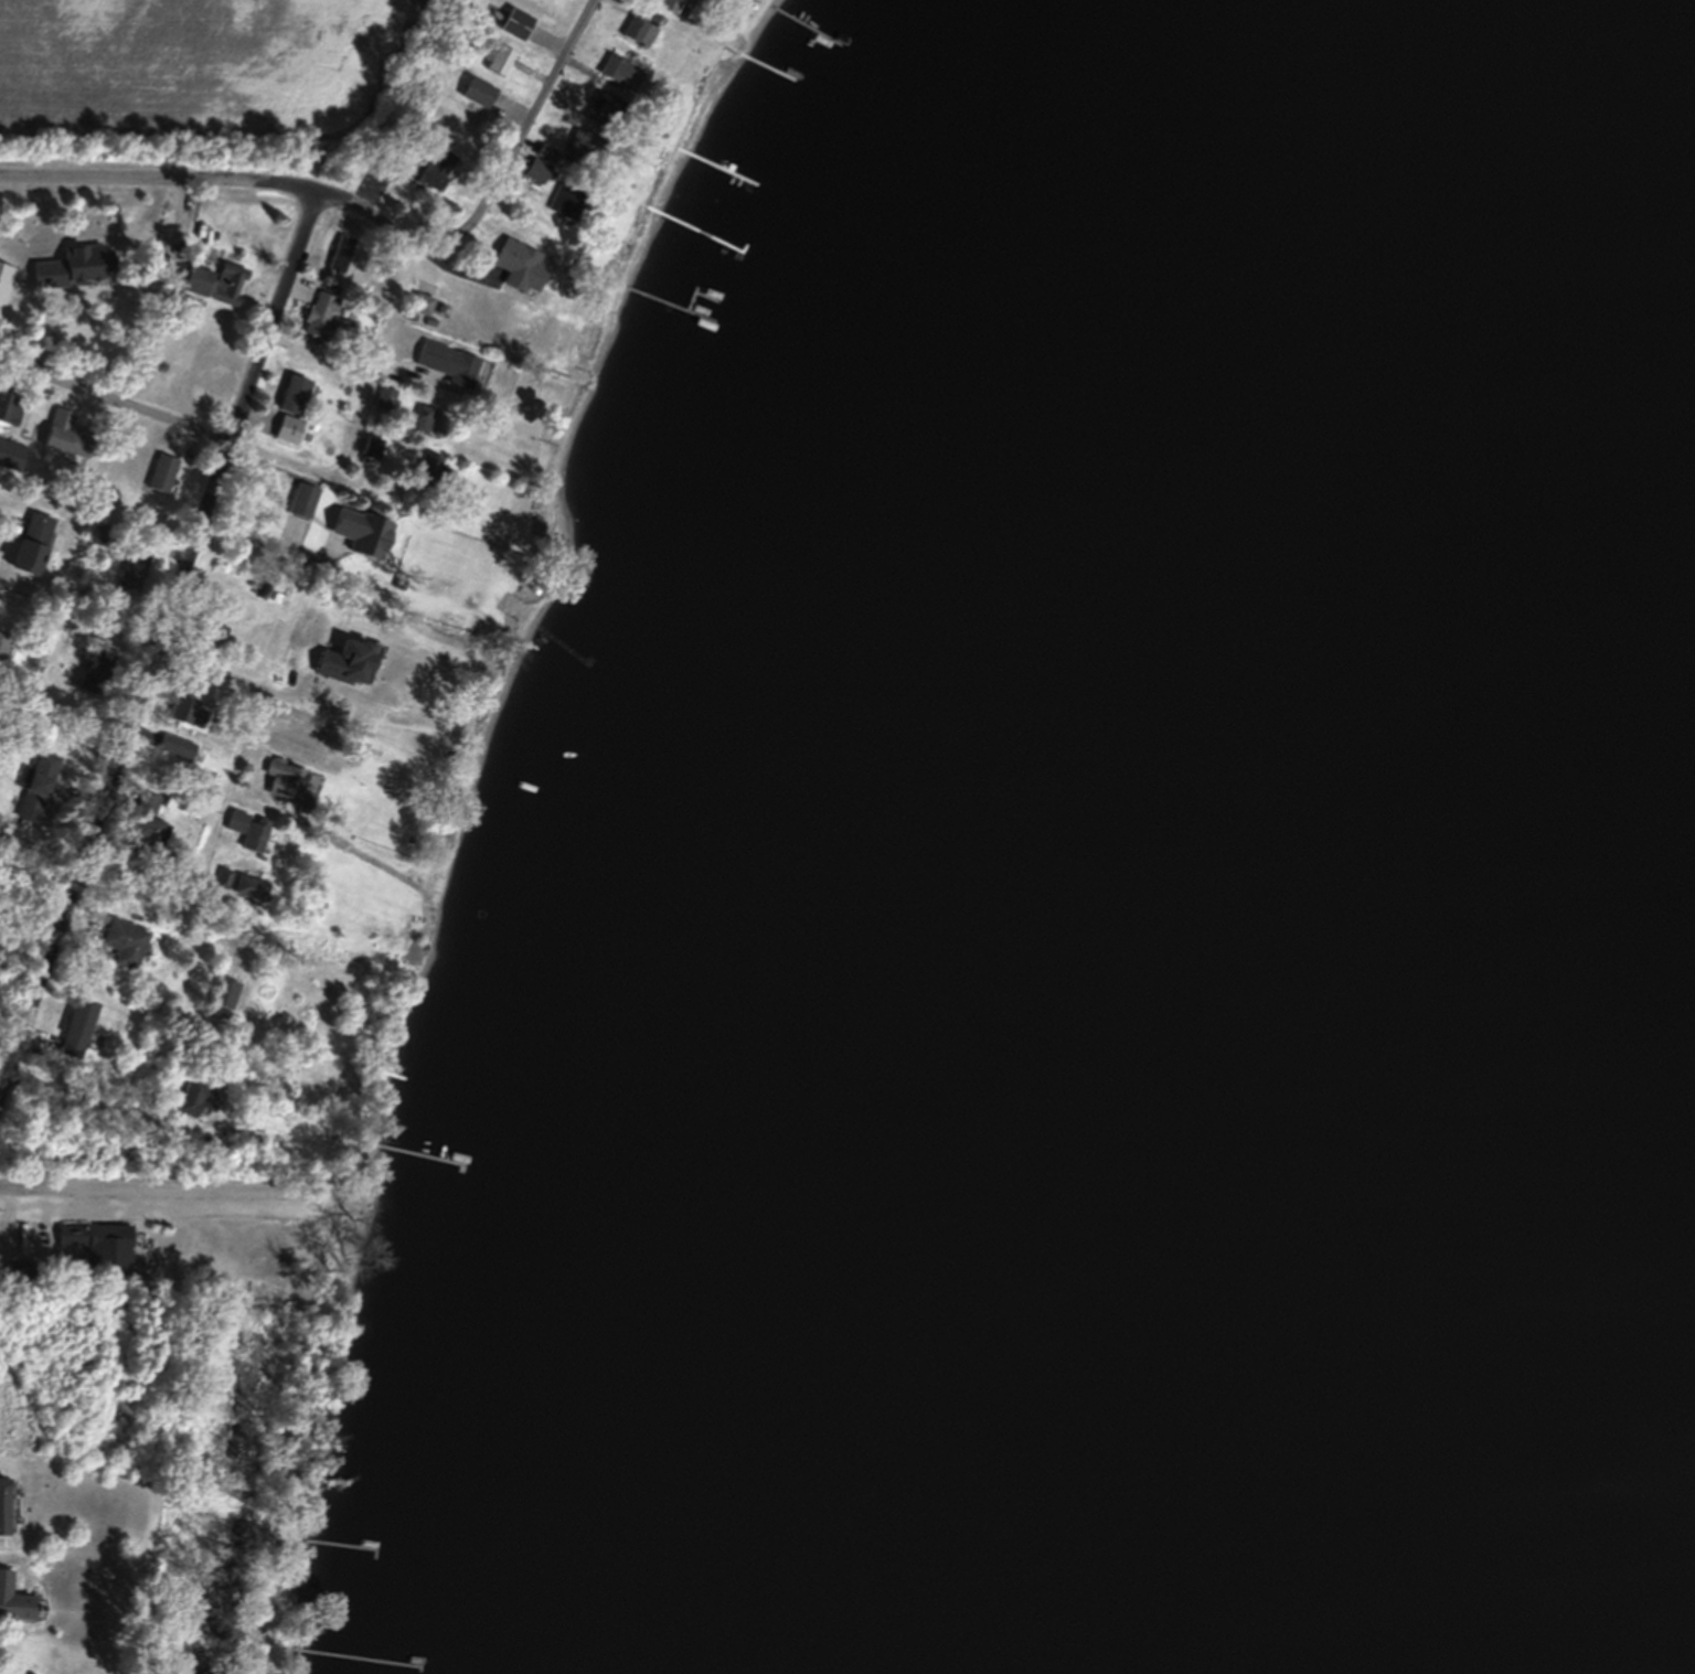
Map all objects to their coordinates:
building: (664, 4)
building: (519, 24)
building: (639, 25)
building: (502, 61)
building: (614, 70)
building: (479, 92)
building: (599, 107)
road: (529, 135)
building: (544, 153)
building: (535, 170)
building: (427, 172)
road: (227, 180)
building: (563, 201)
building: (341, 253)
building: (518, 265)
building: (214, 282)
building: (420, 303)
building: (317, 314)
building: (445, 362)
road: (383, 376)
road: (117, 401)
building: (10, 408)
building: (290, 408)
building: (422, 418)
building: (61, 433)
building: (371, 446)
building: (7, 454)
building: (302, 500)
road: (396, 507)
building: (361, 531)
building: (30, 540)
road: (265, 546)
building: (211, 628)
building: (4, 646)
road: (162, 646)
building: (344, 660)
building: (93, 667)
road: (241, 678)
building: (188, 710)
building: (302, 743)
building: (177, 744)
road: (248, 745)
building: (287, 779)
building: (36, 787)
building: (148, 799)
building: (175, 801)
building: (140, 828)
building: (249, 828)
building: (241, 884)
road: (207, 909)
building: (125, 941)
building: (224, 992)
building: (77, 1024)
building: (185, 1097)
building: (243, 1133)
road: (175, 1195)
building: (97, 1241)
building: (12, 1600)

